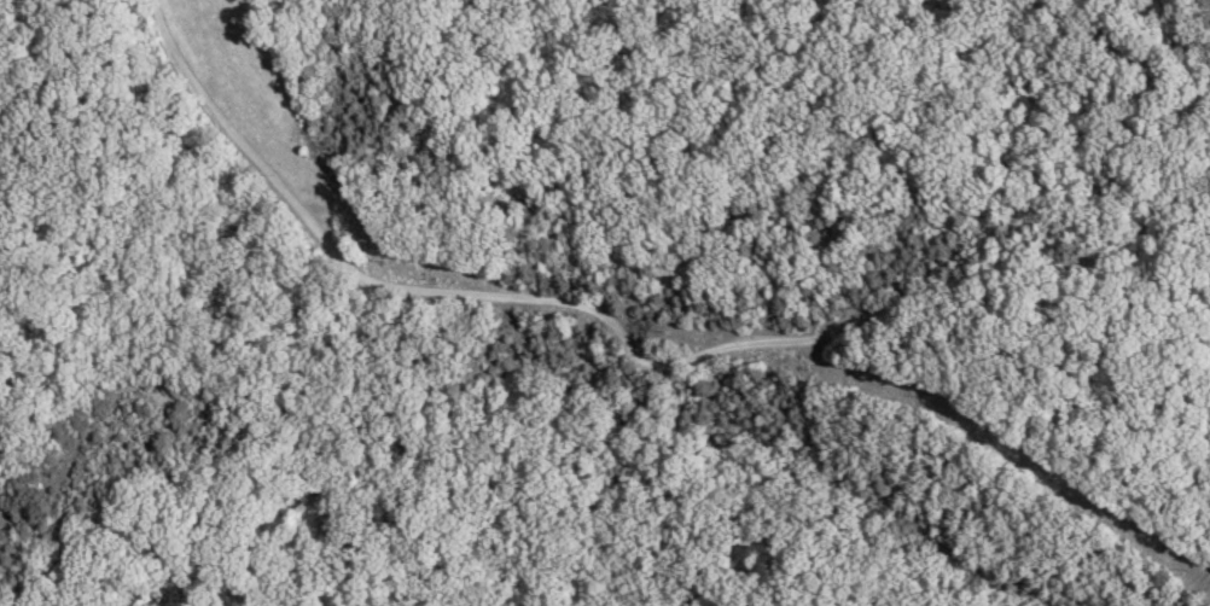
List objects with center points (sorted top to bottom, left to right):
road: (626, 338)

